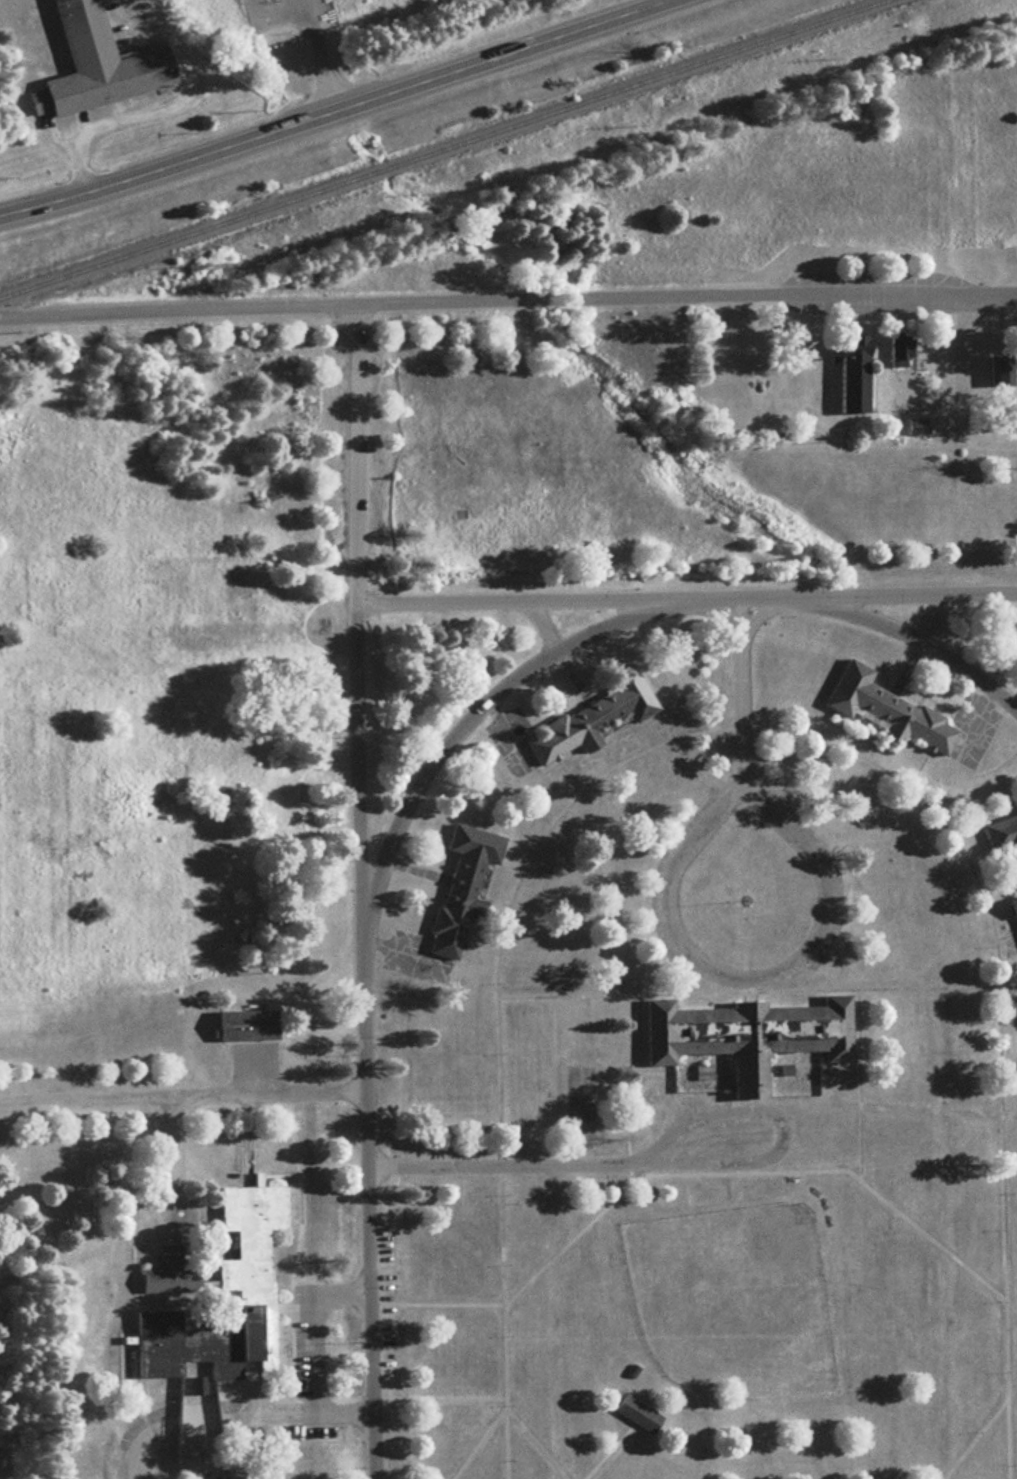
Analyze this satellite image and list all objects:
building: (91, 63)
road: (331, 109)
road: (118, 115)
railway: (440, 147)
road: (687, 298)
road: (178, 307)
building: (996, 368)
building: (848, 371)
road: (685, 596)
road: (930, 615)
road: (543, 626)
road: (918, 638)
road: (740, 691)
building: (883, 708)
road: (473, 710)
building: (591, 716)
building: (1004, 849)
building: (459, 884)
road: (361, 891)
road: (707, 969)
building: (242, 1024)
building: (742, 1033)
road: (183, 1093)
road: (672, 1160)
building: (162, 1270)
building: (242, 1273)
building: (634, 1412)
road: (230, 1414)

